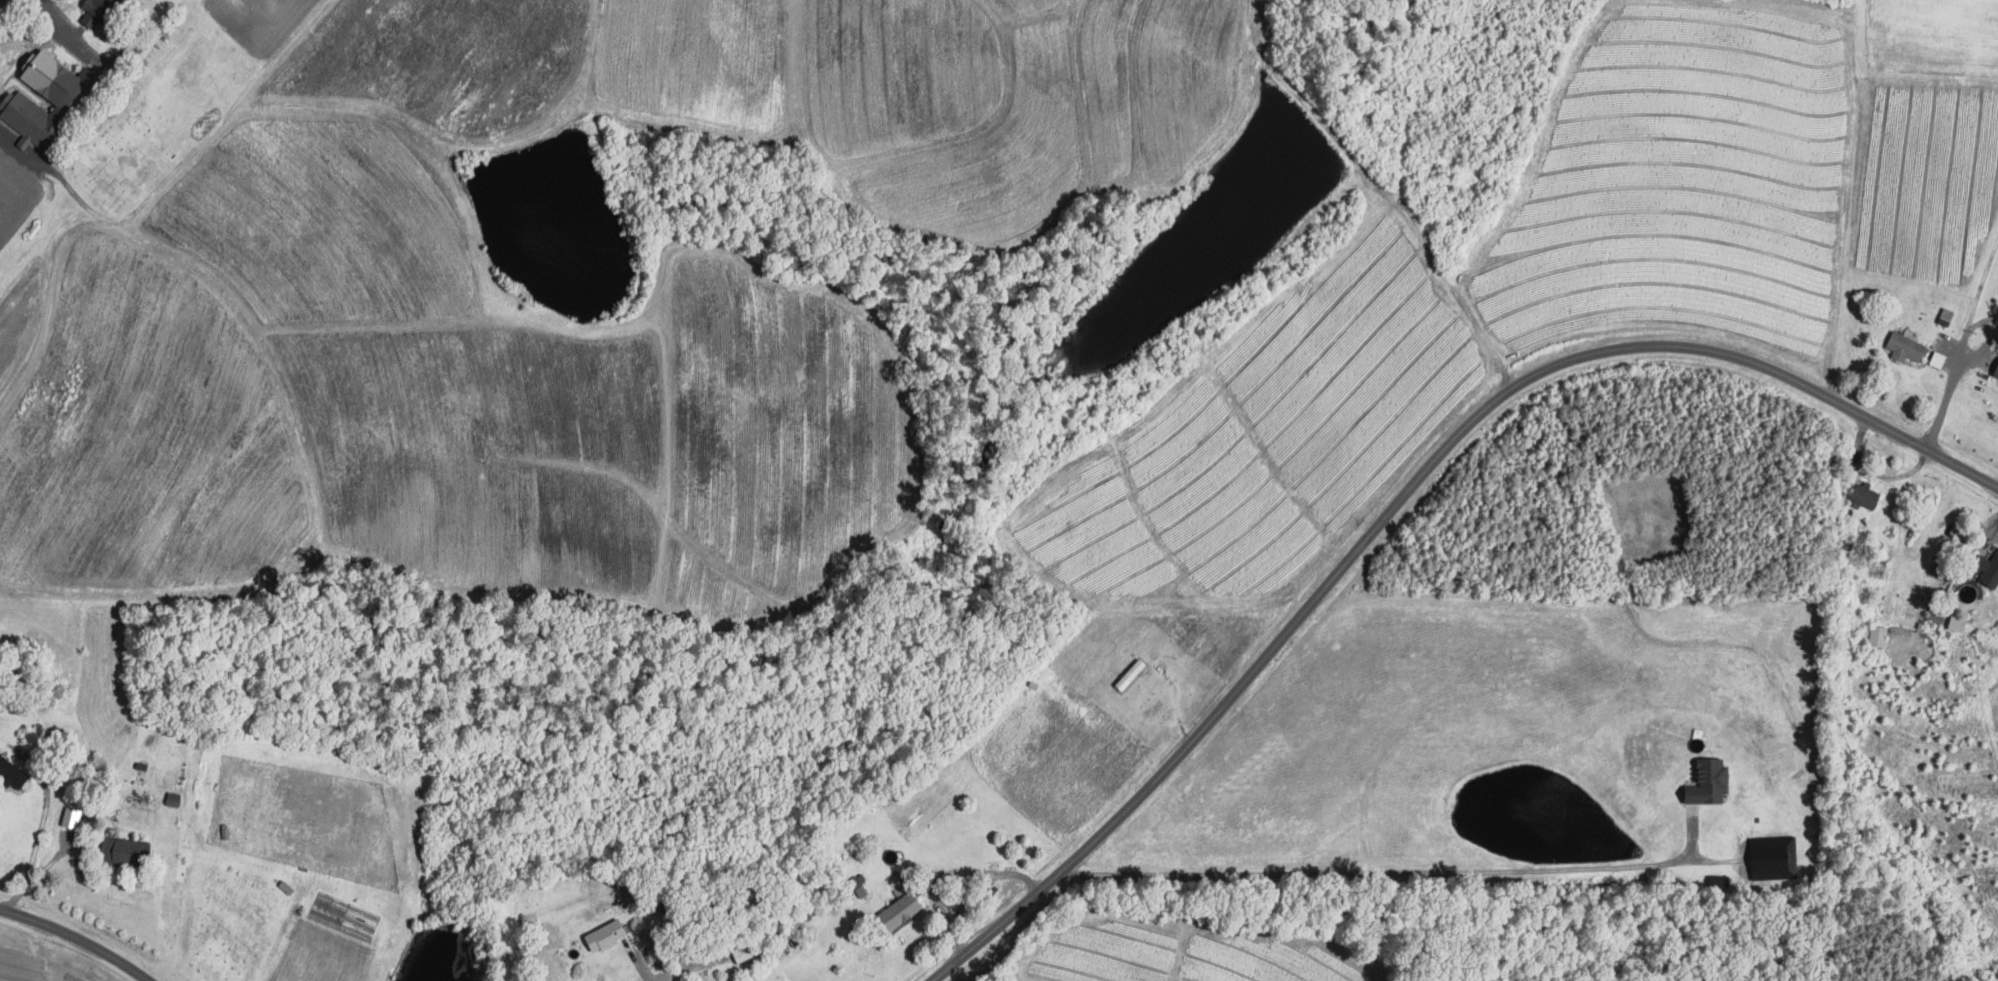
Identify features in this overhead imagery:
building: (100, 11)
road: (70, 29)
building: (67, 95)
road: (1981, 321)
road: (1962, 345)
building: (1907, 346)
building: (1939, 359)
building: (1996, 371)
road: (1404, 495)
building: (1868, 495)
building: (1990, 569)
building: (1959, 622)
building: (1880, 635)
building: (13, 771)
building: (1712, 781)
building: (175, 797)
road: (36, 833)
building: (128, 849)
building: (1776, 857)
road: (1387, 871)
road: (951, 874)
building: (902, 909)
building: (608, 934)
road: (79, 937)
road: (651, 970)

